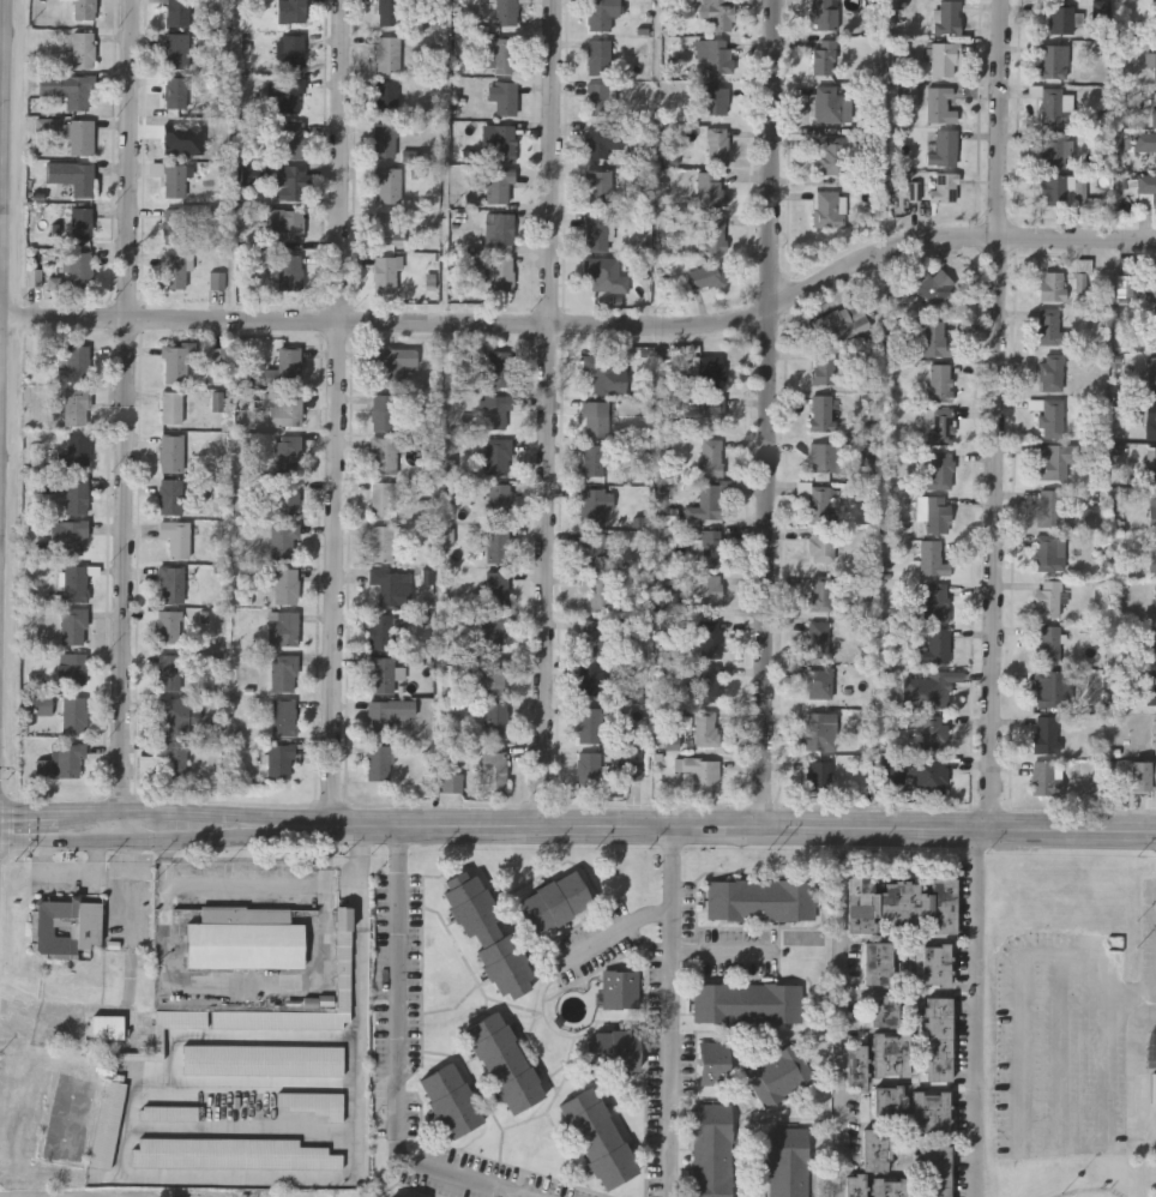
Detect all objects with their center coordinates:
building: (84, 8)
building: (290, 11)
building: (177, 12)
building: (389, 12)
building: (505, 12)
building: (601, 13)
building: (824, 14)
building: (722, 17)
building: (947, 17)
building: (1060, 19)
building: (83, 49)
building: (176, 50)
building: (291, 52)
building: (387, 54)
building: (715, 54)
building: (502, 55)
building: (598, 56)
building: (823, 56)
building: (943, 58)
building: (1052, 60)
building: (1151, 60)
building: (66, 89)
building: (175, 91)
building: (289, 92)
building: (386, 92)
building: (504, 97)
building: (600, 98)
building: (715, 100)
building: (829, 104)
building: (939, 104)
building: (1054, 104)
building: (1154, 107)
building: (78, 134)
building: (177, 137)
building: (291, 139)
building: (385, 139)
building: (602, 139)
building: (1144, 140)
building: (502, 142)
building: (717, 145)
building: (944, 148)
building: (1053, 148)
building: (835, 155)
road: (7, 158)
building: (71, 174)
building: (174, 178)
building: (289, 182)
building: (387, 184)
building: (500, 184)
building: (943, 187)
building: (598, 188)
building: (1053, 188)
building: (710, 190)
building: (1146, 190)
building: (827, 207)
building: (80, 221)
building: (289, 222)
building: (174, 225)
building: (385, 228)
building: (499, 228)
building: (596, 231)
building: (712, 233)
building: (78, 269)
building: (174, 270)
building: (289, 271)
building: (387, 273)
building: (500, 275)
building: (604, 275)
building: (1082, 275)
building: (704, 276)
building: (1125, 277)
building: (1152, 282)
building: (1052, 284)
building: (935, 285)
building: (839, 323)
road: (586, 325)
building: (1049, 326)
building: (934, 338)
building: (76, 362)
building: (174, 363)
building: (395, 363)
building: (823, 366)
building: (499, 367)
building: (283, 368)
building: (708, 369)
building: (600, 371)
building: (1050, 371)
road: (2, 374)
building: (1151, 374)
building: (939, 381)
building: (76, 404)
building: (171, 405)
building: (710, 408)
building: (285, 409)
building: (494, 409)
building: (383, 410)
building: (821, 411)
road: (339, 413)
road: (547, 414)
building: (1048, 414)
road: (770, 415)
road: (997, 415)
building: (595, 416)
road: (126, 420)
building: (940, 423)
building: (1150, 425)
building: (74, 449)
building: (170, 451)
building: (287, 452)
road: (0, 455)
building: (383, 455)
building: (496, 455)
building: (711, 456)
building: (823, 456)
building: (592, 458)
building: (1054, 458)
building: (1151, 469)
building: (940, 470)
building: (74, 494)
building: (170, 495)
building: (285, 497)
building: (381, 497)
building: (499, 498)
building: (817, 500)
building: (705, 503)
building: (594, 506)
building: (1048, 506)
building: (934, 511)
building: (1152, 512)
building: (68, 535)
building: (175, 536)
building: (284, 540)
building: (381, 541)
building: (496, 543)
building: (824, 543)
building: (711, 547)
building: (591, 549)
building: (1046, 552)
building: (1152, 553)
building: (932, 558)
building: (74, 582)
building: (170, 583)
building: (285, 584)
building: (391, 584)
building: (495, 588)
building: (710, 588)
building: (597, 591)
building: (819, 591)
building: (1047, 596)
building: (1155, 598)
building: (937, 601)
building: (164, 624)
building: (72, 626)
building: (282, 627)
building: (380, 631)
building: (493, 631)
building: (592, 637)
building: (709, 637)
building: (818, 638)
building: (1047, 643)
building: (1152, 643)
building: (937, 645)
building: (72, 667)
building: (168, 672)
building: (283, 672)
building: (381, 674)
building: (493, 674)
building: (591, 679)
building: (708, 682)
building: (819, 682)
building: (1053, 687)
building: (1152, 687)
building: (935, 690)
building: (72, 714)
building: (387, 714)
building: (167, 715)
building: (283, 717)
building: (494, 717)
building: (589, 724)
building: (706, 727)
building: (819, 732)
building: (933, 733)
building: (1044, 733)
building: (1155, 734)
building: (173, 756)
building: (279, 759)
building: (61, 760)
building: (377, 762)
building: (630, 769)
building: (493, 770)
building: (589, 770)
building: (700, 772)
building: (927, 774)
building: (1143, 774)
building: (450, 775)
building: (818, 775)
building: (1046, 777)
road: (153, 810)
road: (730, 830)
road: (153, 841)
road: (106, 859)
road: (128, 860)
road: (61, 877)
road: (249, 886)
building: (760, 900)
building: (554, 902)
building: (901, 904)
building: (66, 925)
building: (487, 933)
road: (137, 934)
road: (612, 936)
building: (245, 937)
road: (723, 952)
building: (343, 958)
building: (879, 963)
building: (932, 964)
road: (257, 984)
building: (620, 991)
road: (1131, 993)
building: (747, 1003)
building: (318, 1004)
road: (456, 1010)
building: (885, 1010)
road: (672, 1012)
road: (40, 1013)
road: (532, 1013)
road: (839, 1013)
road: (974, 1015)
building: (181, 1018)
park: (1070, 1024)
building: (107, 1027)
building: (939, 1039)
parking lot: (1067, 1041)
building: (612, 1052)
road: (1061, 1052)
building: (891, 1054)
building: (263, 1059)
road: (397, 1059)
building: (502, 1061)
building: (712, 1063)
building: (857, 1066)
building: (779, 1076)
road: (480, 1093)
building: (450, 1100)
building: (889, 1101)
building: (312, 1102)
road: (1132, 1102)
building: (931, 1112)
building: (167, 1113)
building: (107, 1124)
building: (598, 1137)
road: (1098, 1147)
building: (877, 1148)
building: (711, 1150)
building: (231, 1153)
building: (788, 1162)
building: (938, 1171)
road: (233, 1177)
park: (1071, 1177)
building: (856, 1185)
building: (891, 1187)
road: (512, 1195)

